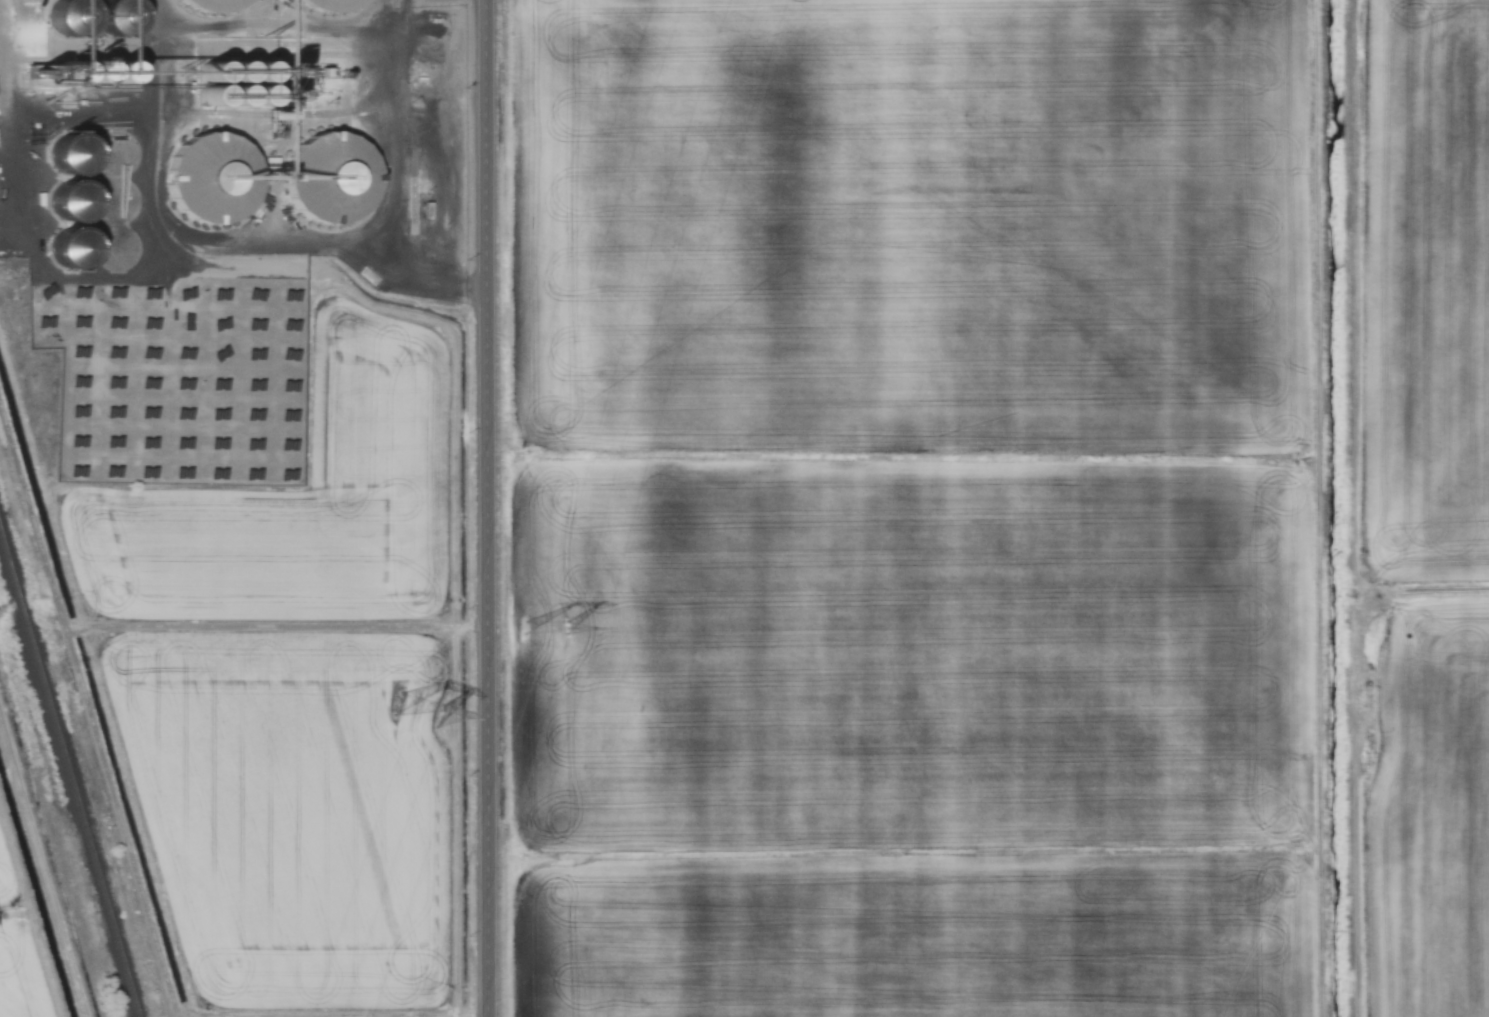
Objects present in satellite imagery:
building: (331, 177)
road: (493, 508)
railway: (7, 568)
railway: (17, 604)
power tower: (556, 644)
power tower: (430, 711)
railway: (78, 814)

